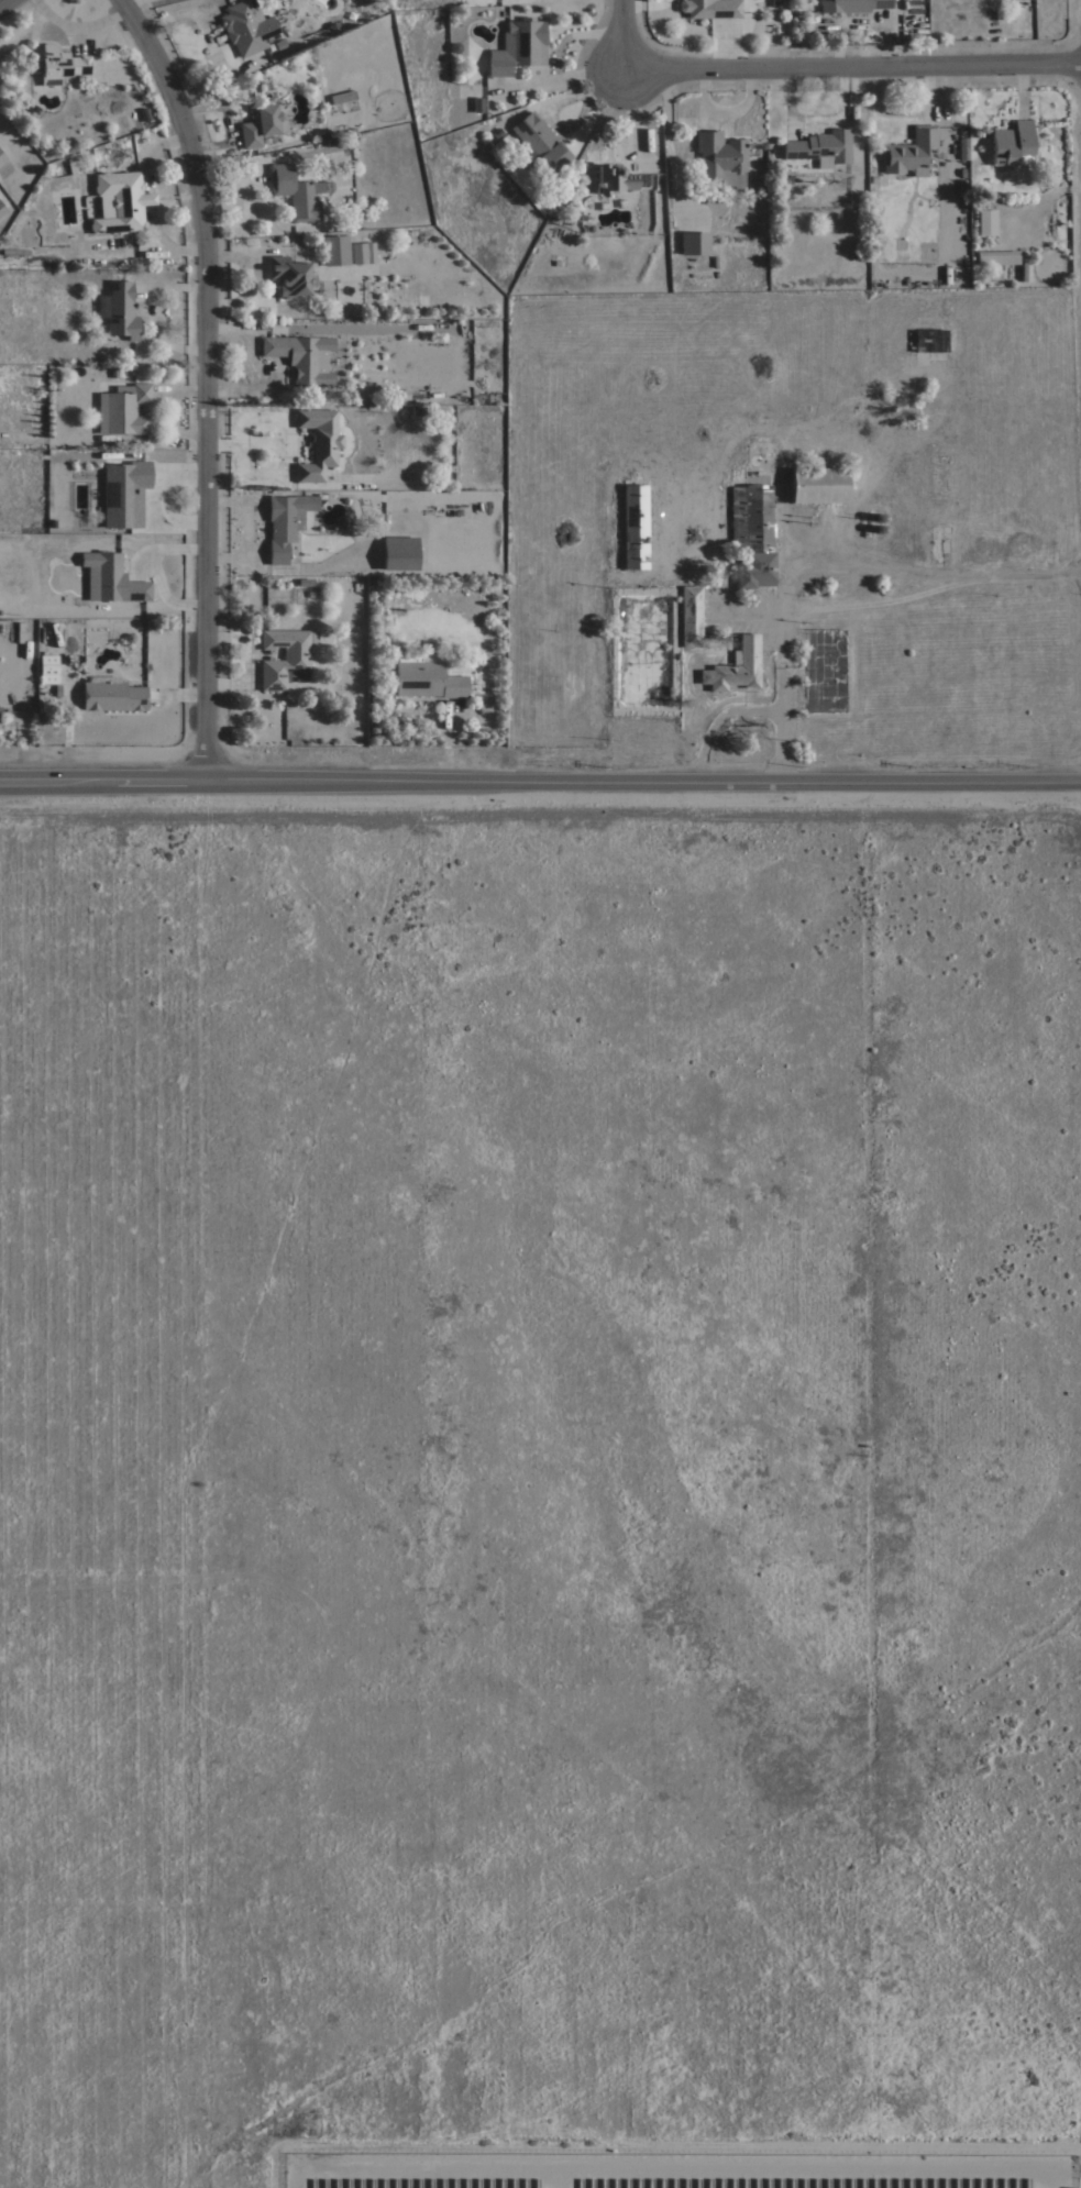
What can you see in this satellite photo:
road: (8, 5)
building: (852, 5)
building: (710, 9)
building: (246, 27)
road: (625, 35)
building: (518, 47)
building: (58, 65)
road: (853, 68)
building: (342, 97)
road: (558, 103)
building: (477, 106)
building: (261, 125)
building: (539, 143)
building: (1012, 144)
building: (820, 148)
building: (964, 150)
building: (911, 152)
building: (721, 158)
building: (2, 159)
building: (614, 179)
building: (296, 192)
building: (120, 202)
building: (2, 210)
building: (986, 222)
building: (695, 244)
building: (335, 251)
building: (359, 254)
building: (997, 257)
building: (290, 277)
building: (119, 311)
building: (302, 357)
road: (206, 382)
building: (123, 410)
building: (318, 443)
building: (818, 485)
building: (124, 494)
building: (750, 518)
building: (286, 523)
building: (343, 526)
building: (635, 526)
building: (399, 554)
building: (755, 571)
building: (111, 579)
building: (691, 617)
building: (286, 657)
building: (736, 667)
building: (48, 670)
building: (427, 677)
building: (112, 695)
road: (540, 783)
solar farm: (674, 2170)

